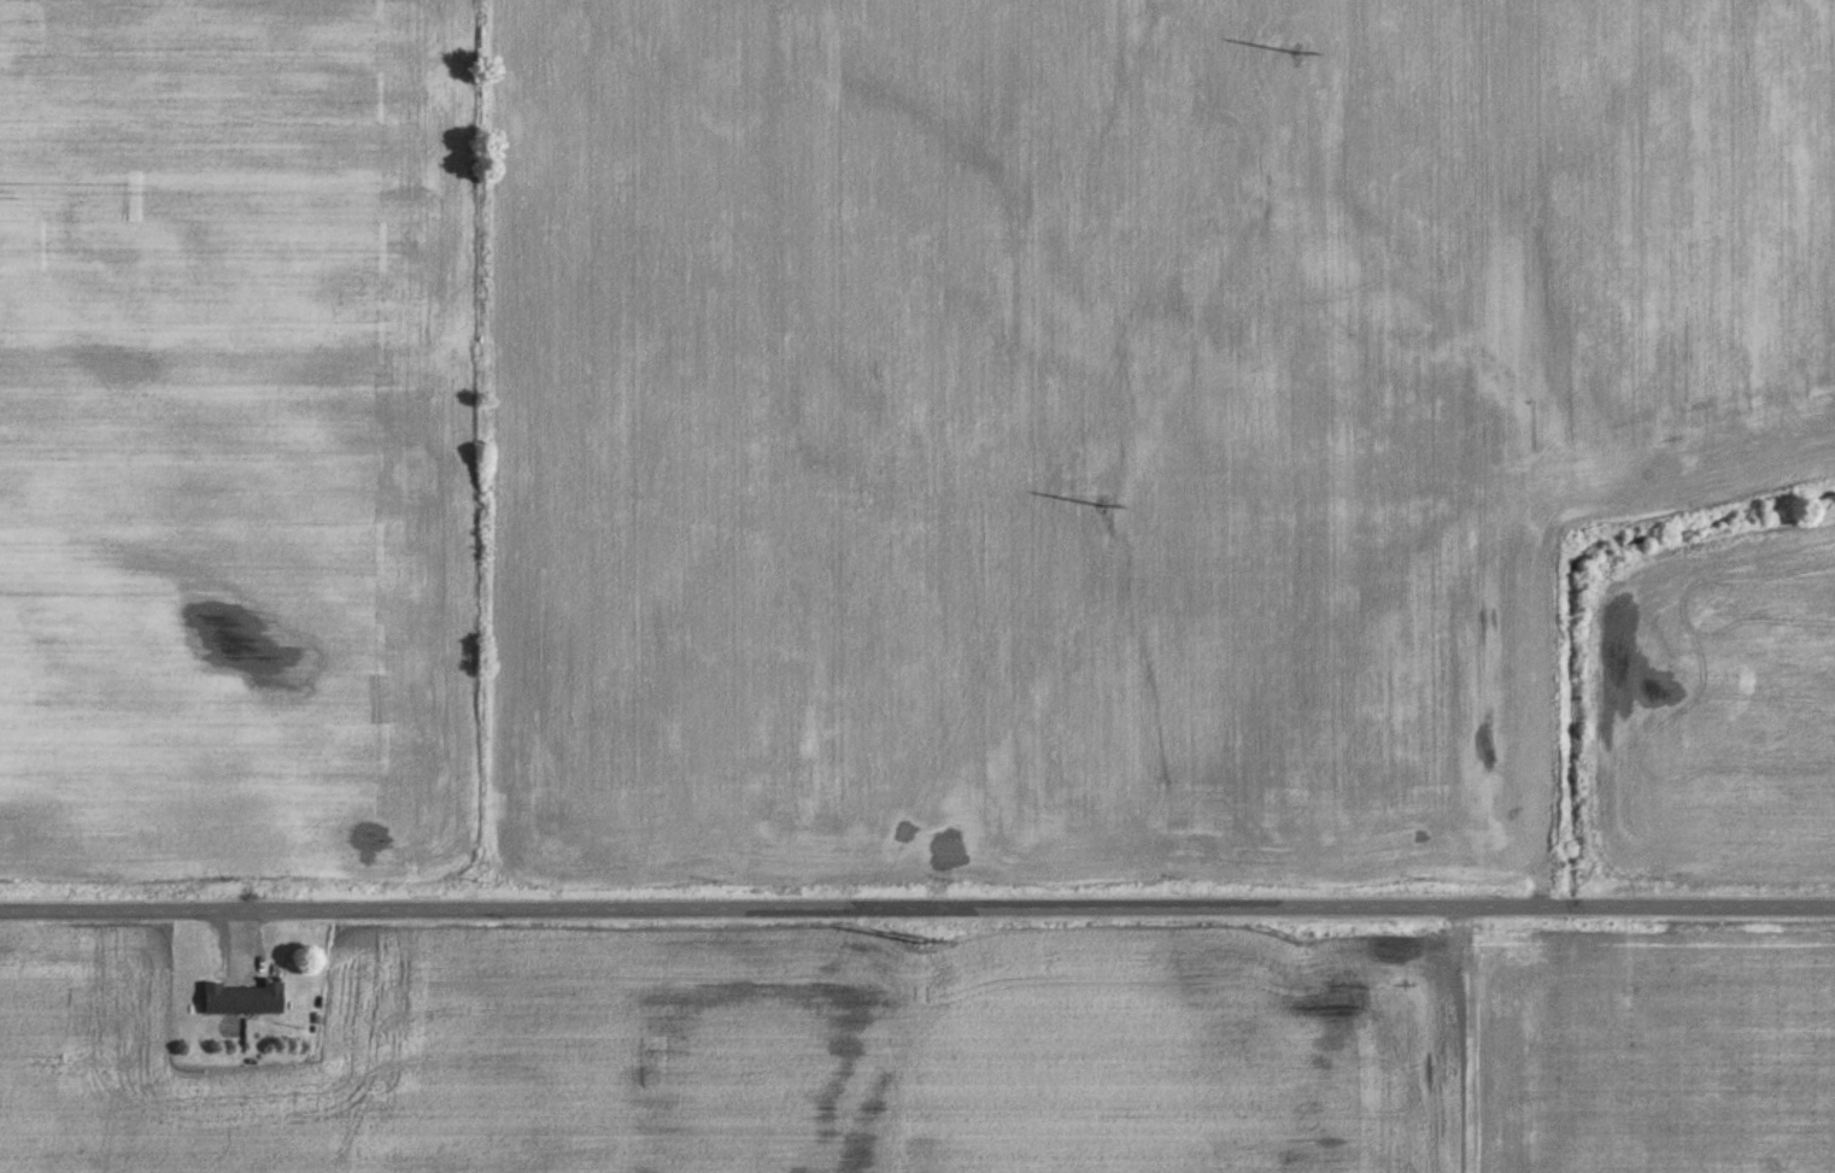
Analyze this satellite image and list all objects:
road: (916, 911)
building: (240, 997)

